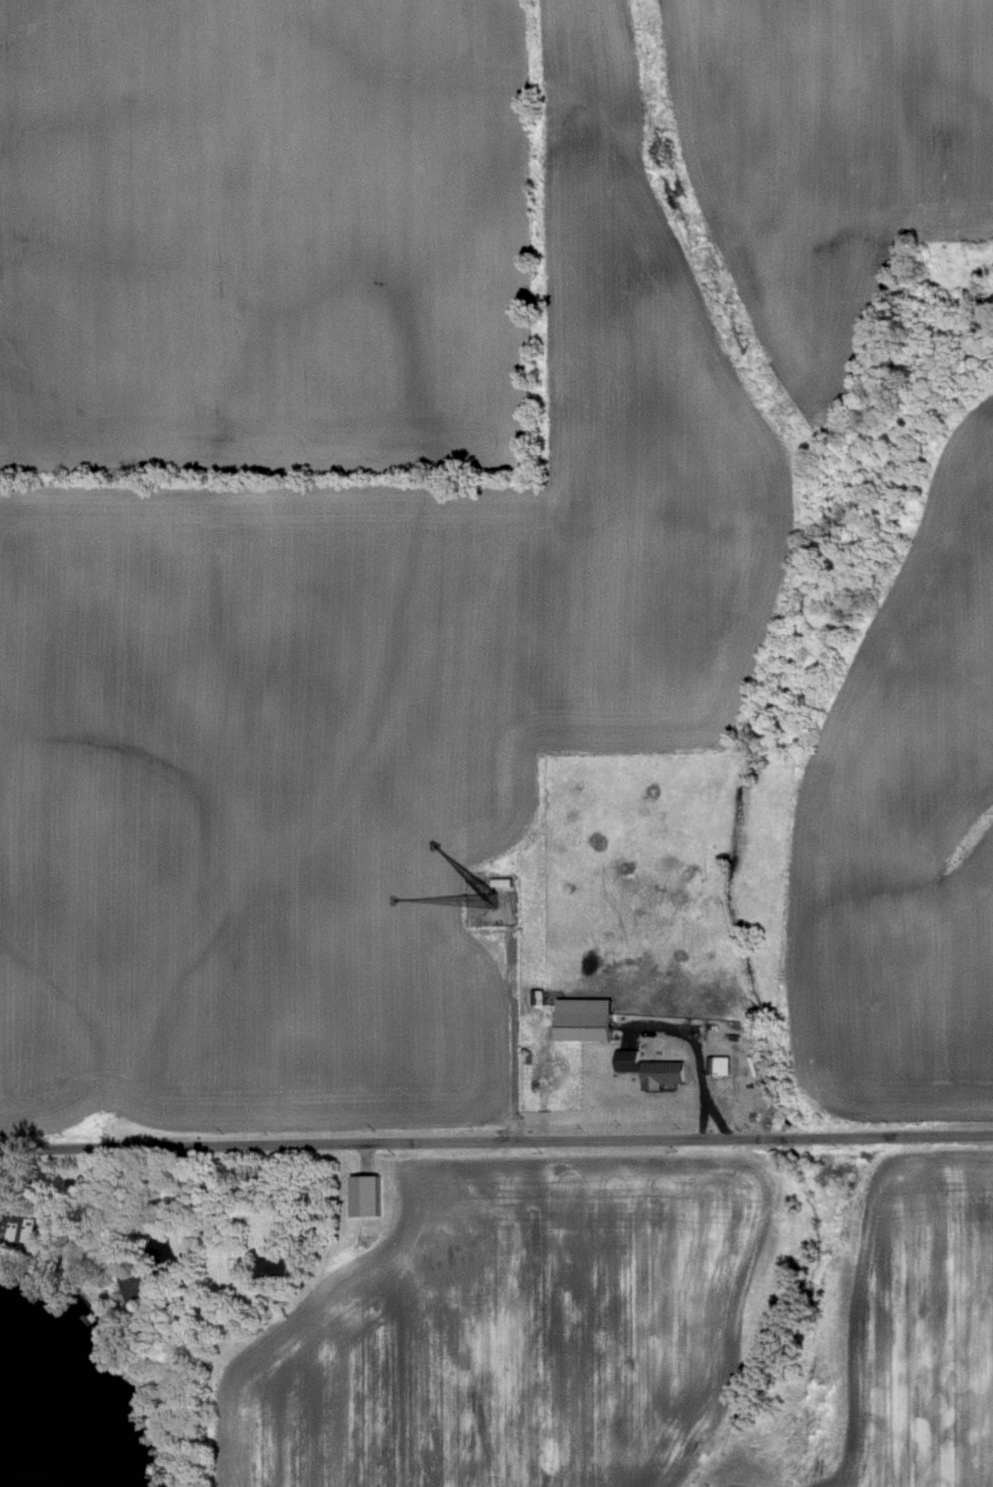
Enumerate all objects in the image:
building: (500, 881)
building: (581, 1018)
building: (626, 1059)
building: (717, 1064)
road: (695, 1068)
building: (660, 1073)
road: (496, 1141)
building: (362, 1195)
road: (171, 1206)
building: (16, 1231)

